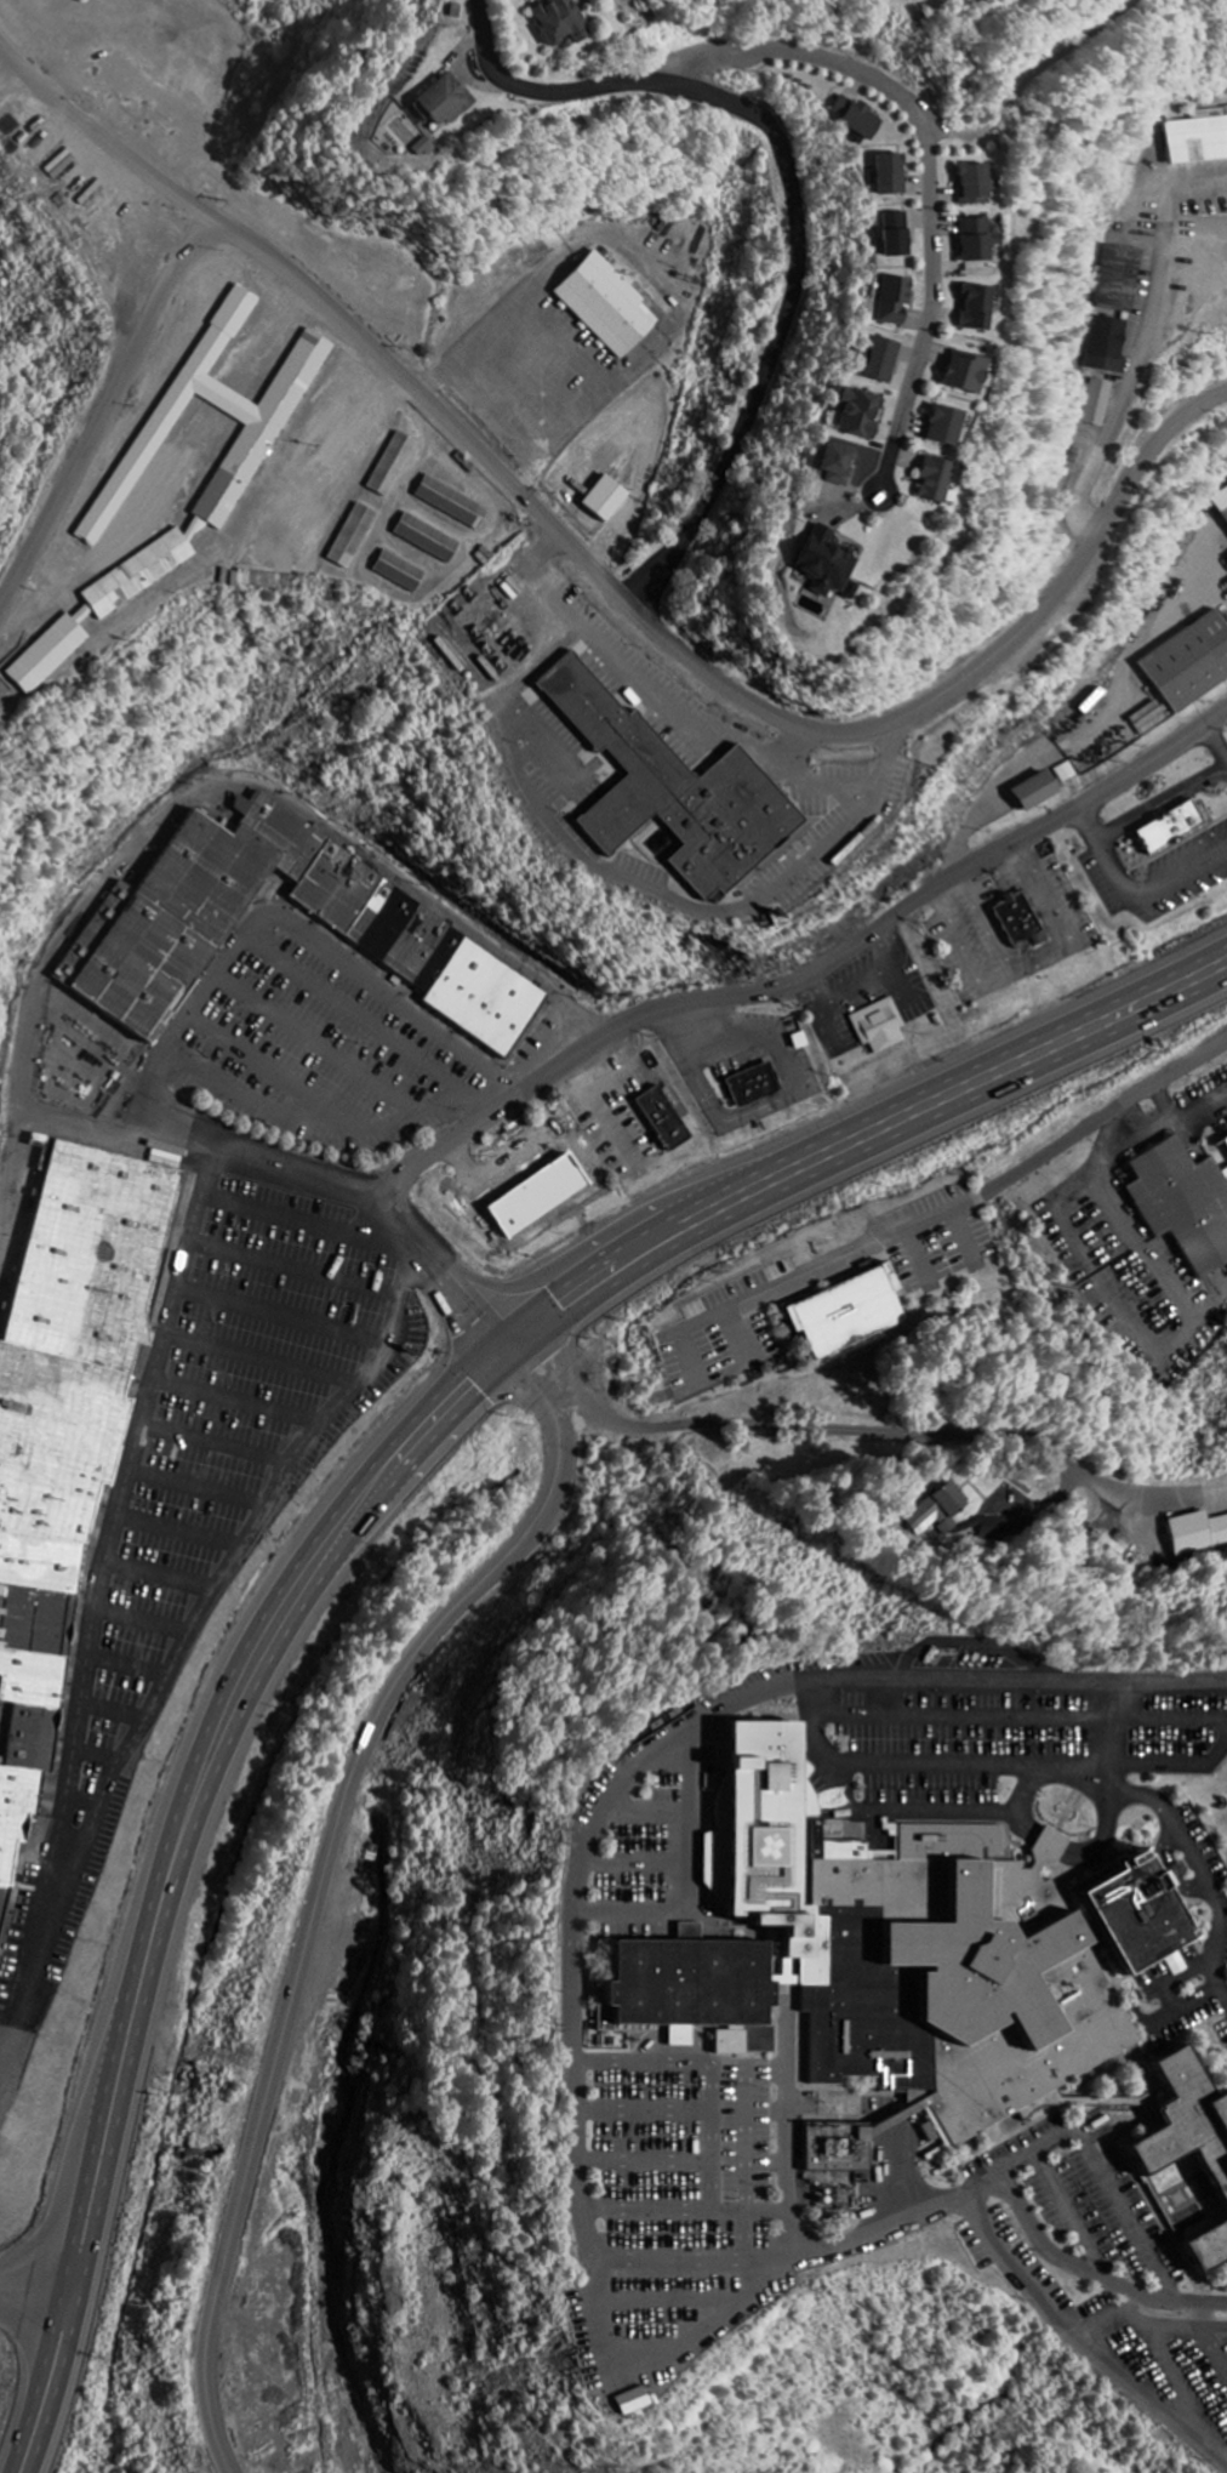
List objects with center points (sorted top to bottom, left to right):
building: (559, 22)
building: (444, 102)
building: (1226, 108)
building: (855, 118)
road: (104, 139)
building: (1197, 139)
building: (891, 175)
building: (975, 184)
road: (794, 205)
building: (896, 235)
building: (977, 240)
building: (1120, 279)
building: (895, 301)
building: (606, 306)
building: (976, 309)
building: (1108, 346)
building: (881, 361)
building: (965, 374)
building: (1097, 403)
building: (860, 415)
building: (944, 427)
road: (1149, 450)
building: (392, 466)
building: (838, 466)
road: (491, 467)
building: (239, 471)
building: (935, 480)
building: (605, 500)
building: (451, 503)
building: (1221, 503)
building: (352, 537)
building: (427, 539)
building: (827, 564)
building: (399, 572)
building: (1189, 665)
building: (668, 790)
building: (1034, 793)
building: (1165, 821)
building: (1014, 916)
building: (149, 942)
road: (769, 987)
building: (879, 1027)
building: (749, 1081)
building: (664, 1121)
building: (1226, 1141)
road: (980, 1158)
building: (1183, 1204)
building: (846, 1314)
road: (500, 1357)
building: (64, 1423)
road: (902, 1432)
road: (1052, 1497)
building: (938, 1514)
building: (1197, 1533)
power tower: (940, 1657)
road: (1180, 1681)
road: (1114, 1730)
road: (1063, 1773)
road: (1018, 1805)
road: (338, 1814)
road: (1102, 1835)
road: (587, 1840)
helipad: (774, 1844)
road: (1045, 1846)
building: (1137, 1911)
building: (883, 1953)
building: (1187, 2121)
building: (837, 2148)
road: (784, 2156)
road: (936, 2200)
building: (1209, 2247)
road: (1090, 2274)
road: (70, 2275)
building: (632, 2403)

